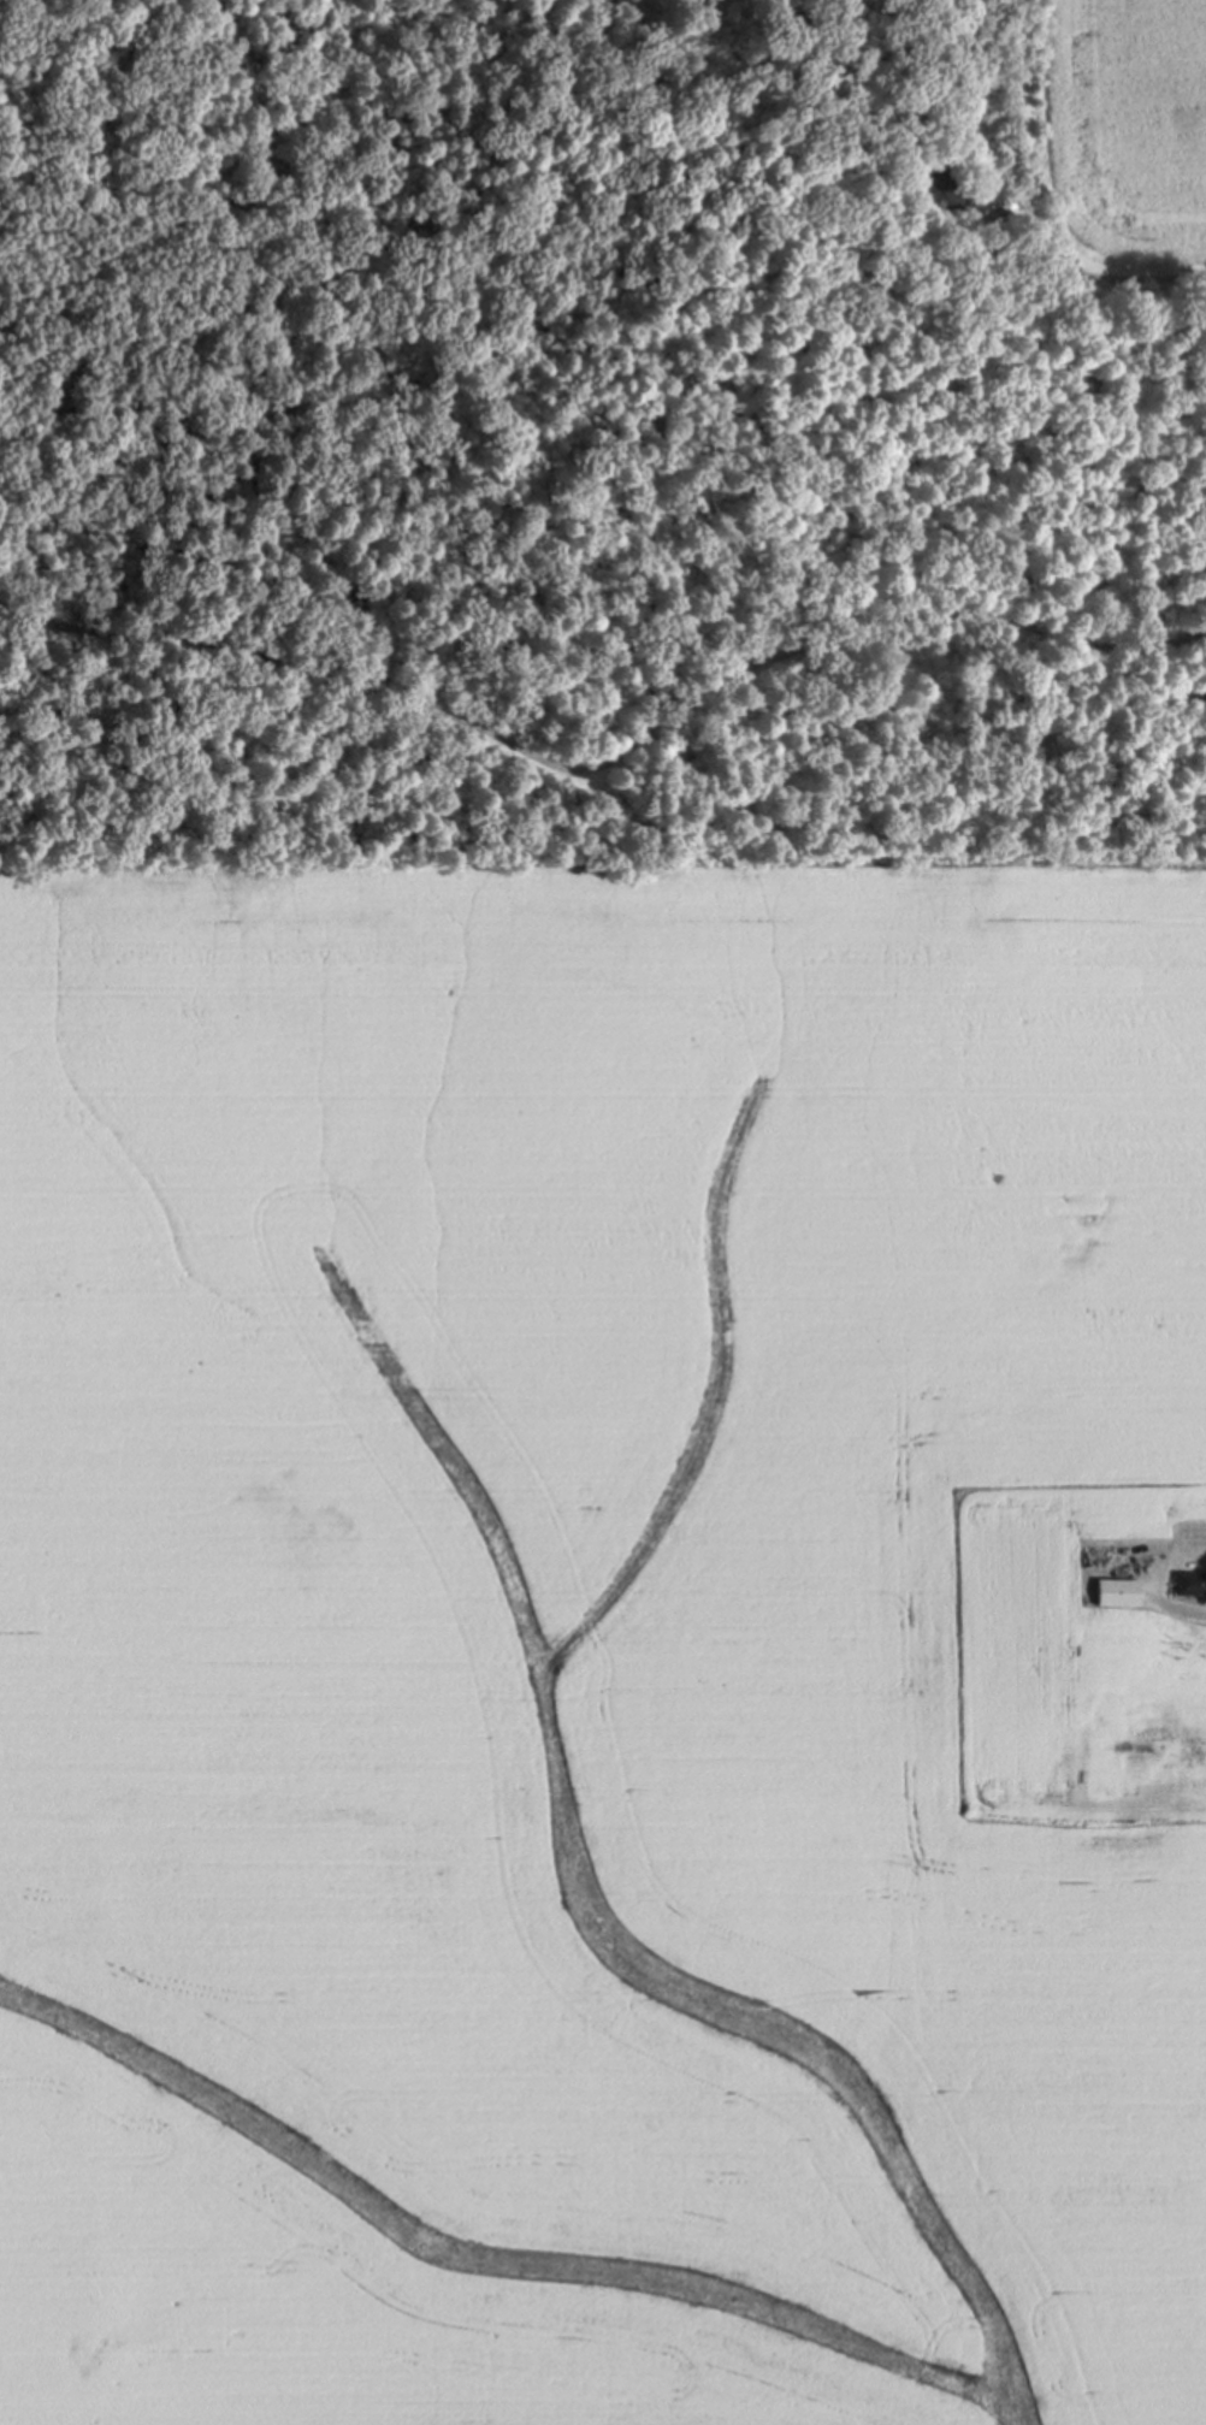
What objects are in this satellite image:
road: (85, 57)
road: (1065, 270)
road: (609, 758)
building: (1189, 1583)
building: (1117, 1592)
road: (1183, 1610)

